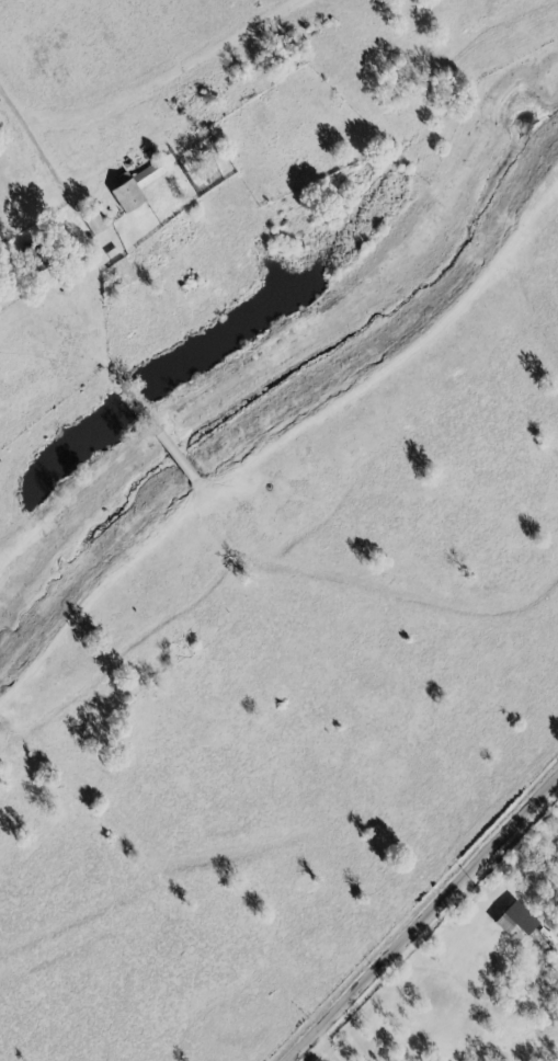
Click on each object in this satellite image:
road: (37, 135)
building: (92, 223)
building: (123, 272)
road: (425, 921)
building: (513, 923)
road: (320, 1052)

